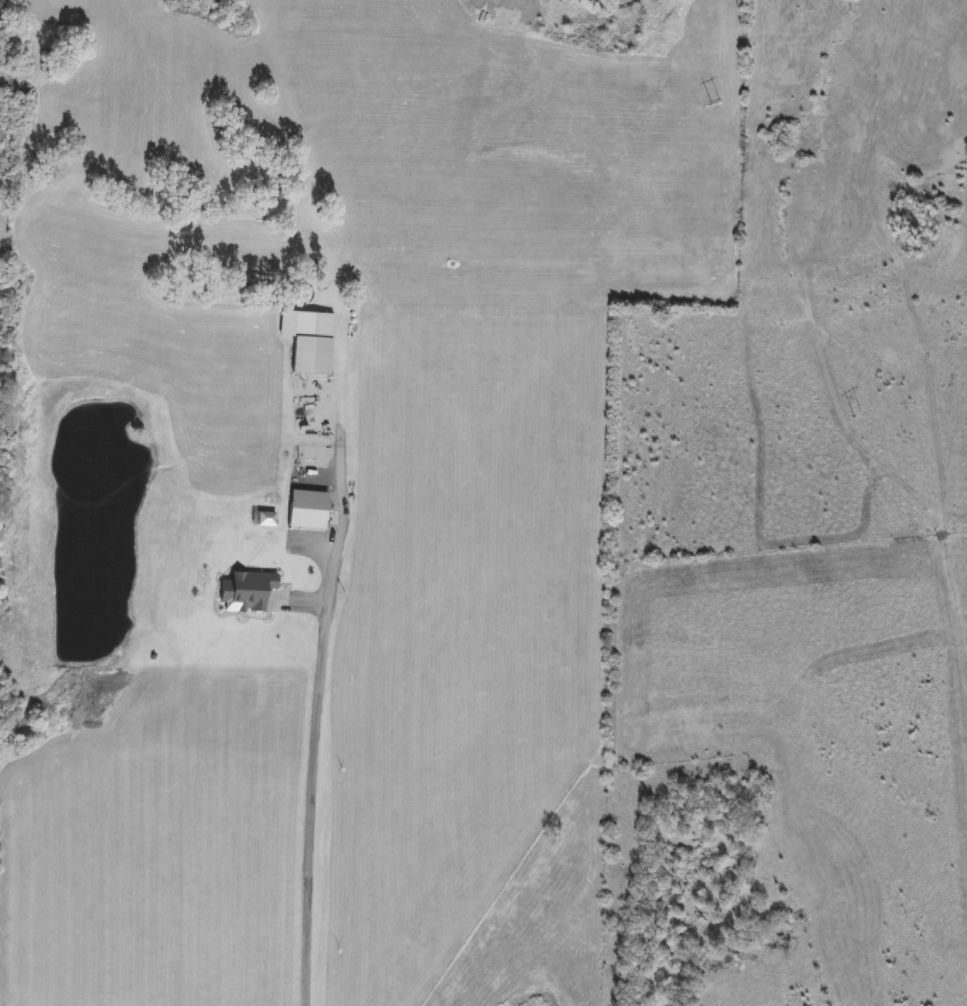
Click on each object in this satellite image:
road: (305, 807)

